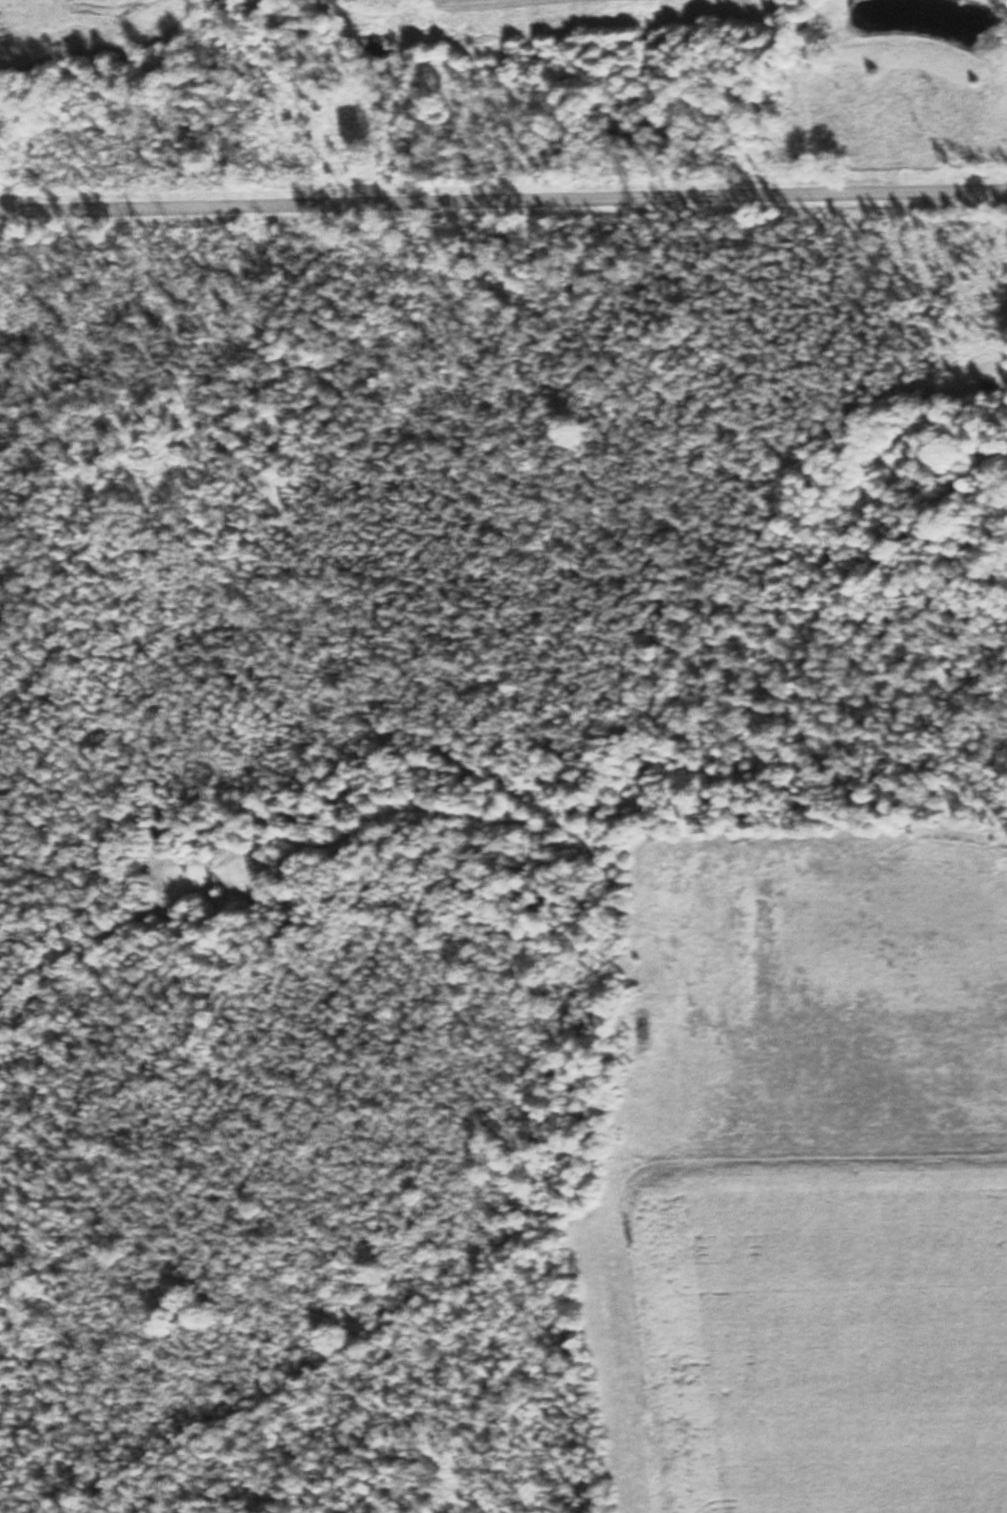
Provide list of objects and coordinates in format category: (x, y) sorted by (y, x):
road: (382, 101)
road: (503, 200)
building: (686, 827)

